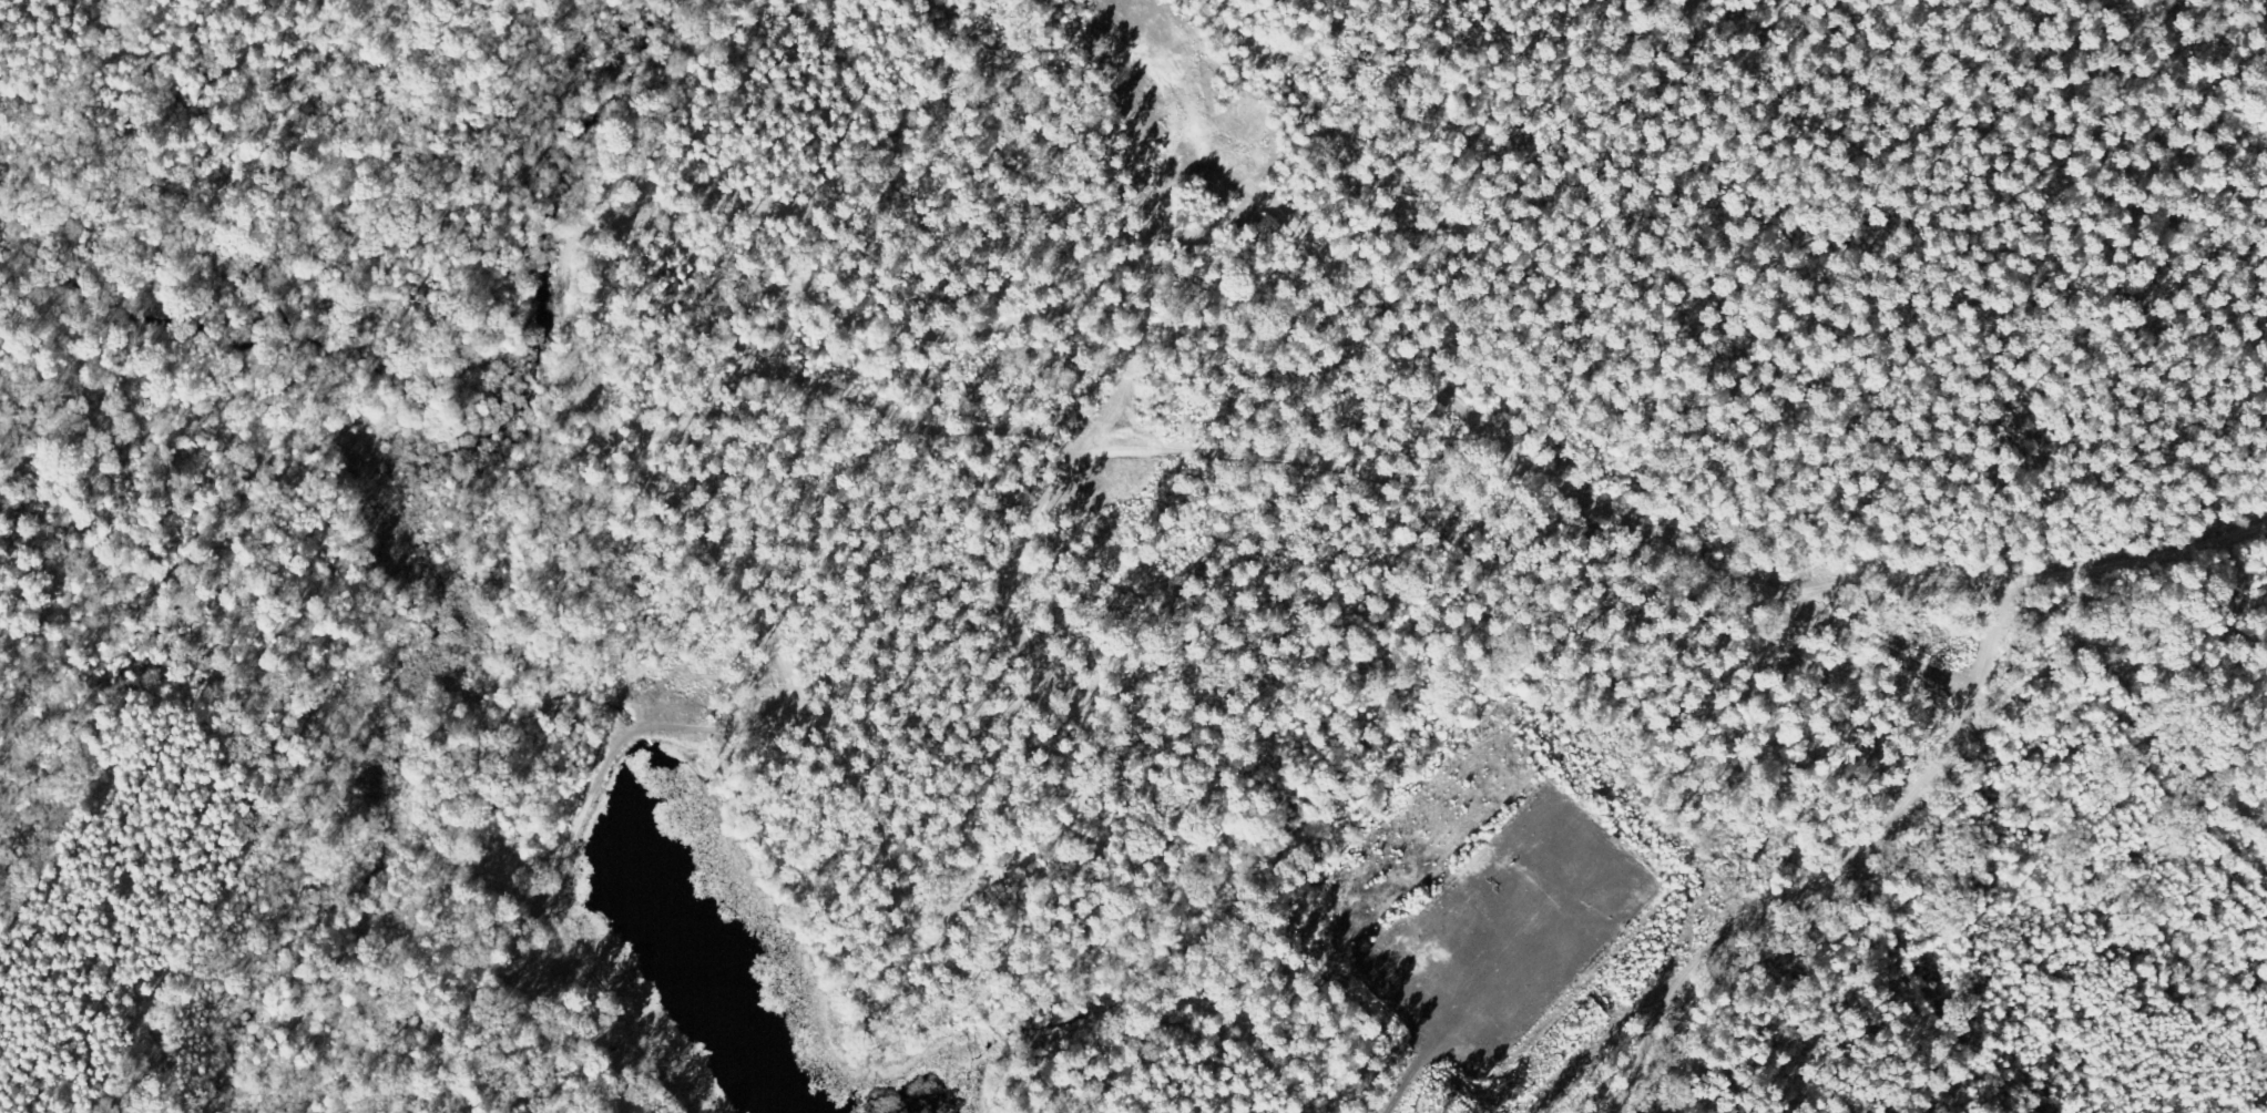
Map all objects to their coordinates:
road: (2244, 474)
road: (2030, 770)

